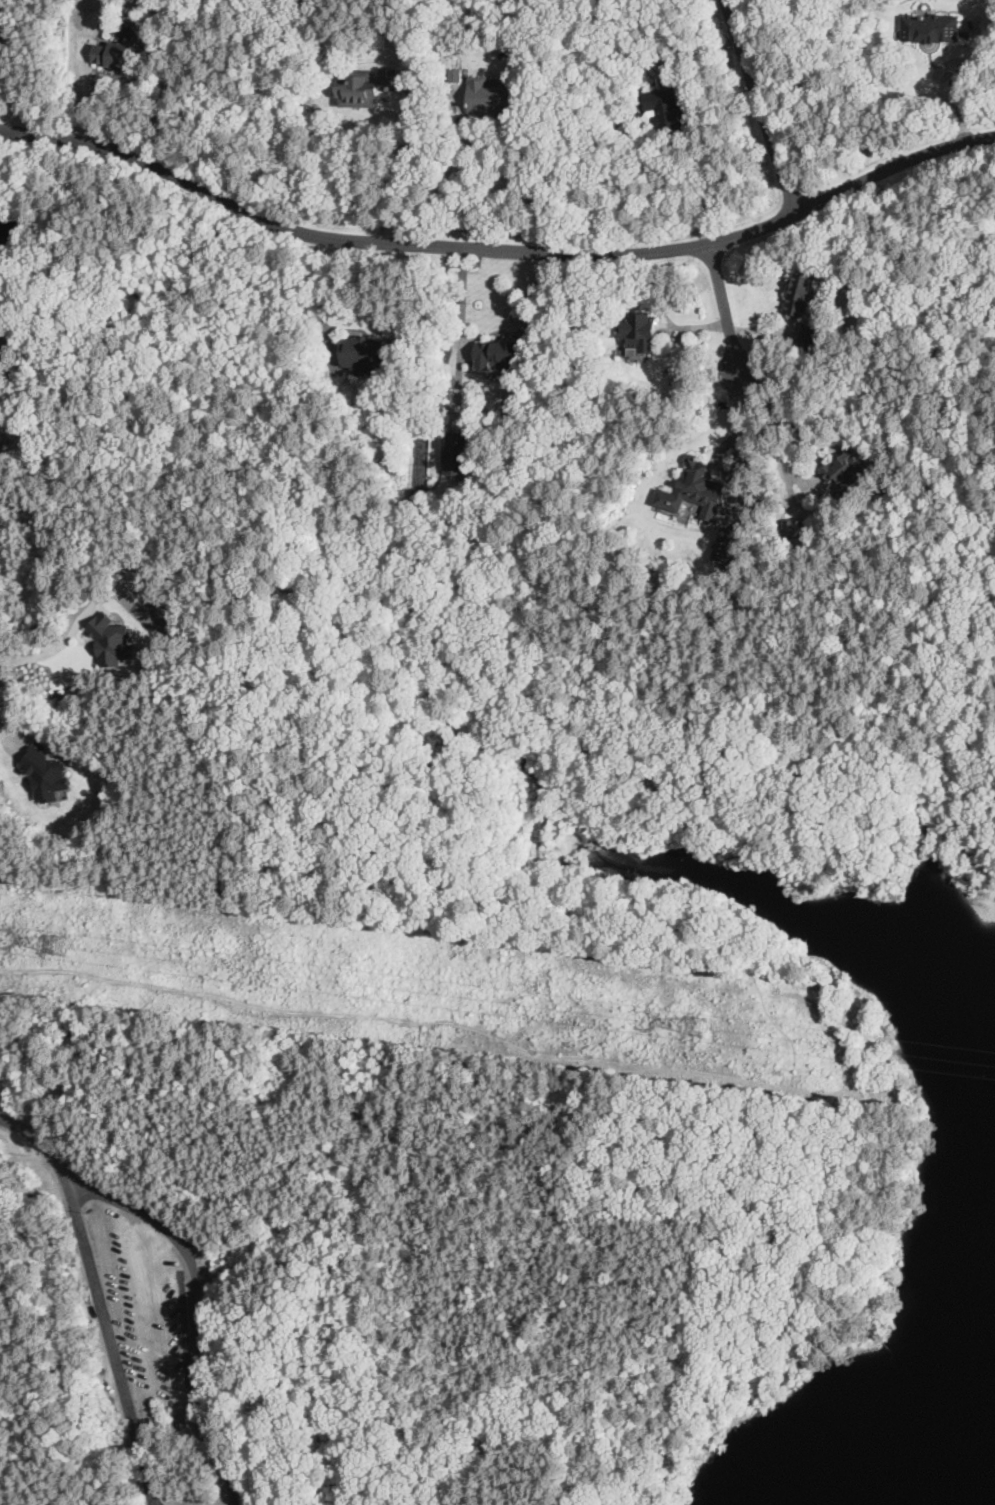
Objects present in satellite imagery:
building: (6, 25)
building: (930, 27)
building: (115, 54)
building: (366, 87)
road: (939, 88)
building: (491, 95)
building: (667, 112)
road: (769, 125)
road: (522, 175)
road: (399, 180)
road: (496, 256)
road: (722, 301)
building: (640, 332)
building: (811, 335)
road: (461, 336)
building: (364, 352)
building: (499, 355)
road: (741, 437)
road: (771, 439)
building: (848, 467)
building: (694, 490)
building: (796, 527)
building: (729, 544)
building: (112, 639)
road: (39, 655)
road: (8, 735)
building: (47, 774)
power tower: (65, 962)
road: (758, 993)
power tower: (703, 1023)
road: (39, 1137)
road: (94, 1186)
road: (93, 1193)
parking lot: (150, 1311)

